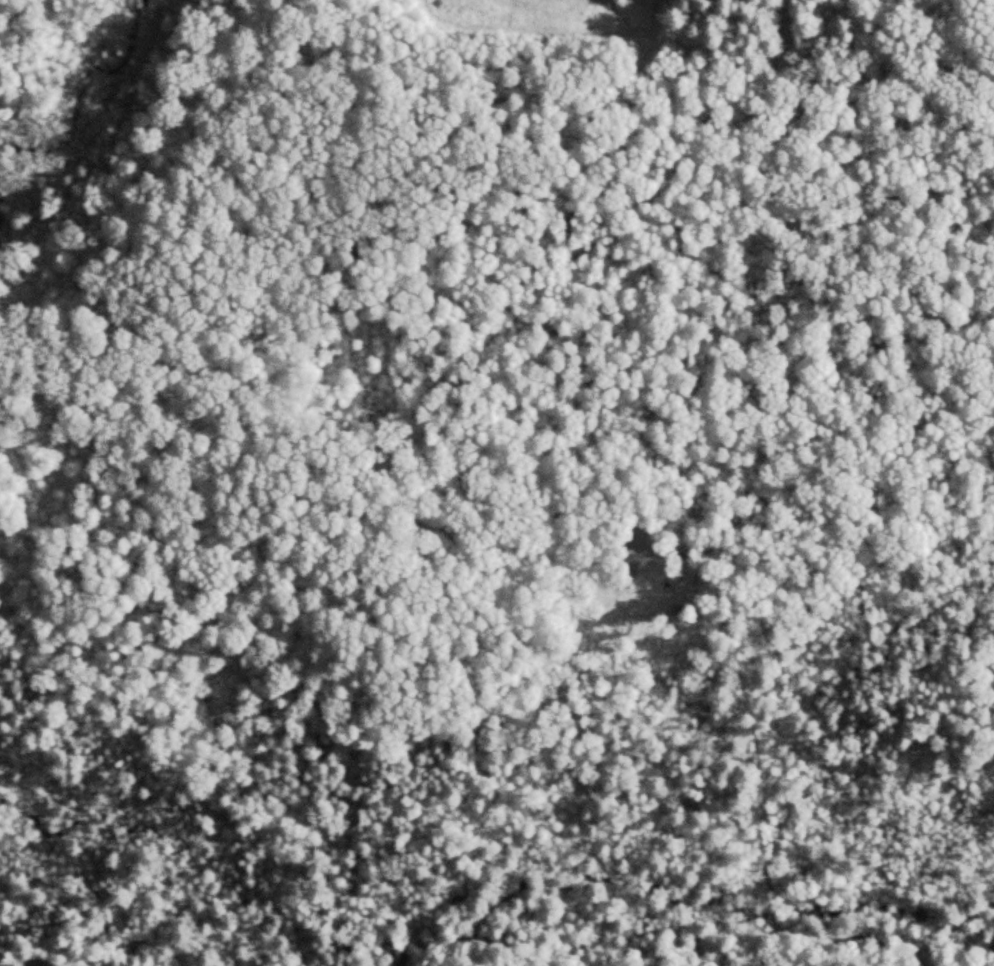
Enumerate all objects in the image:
building: (42, 963)

